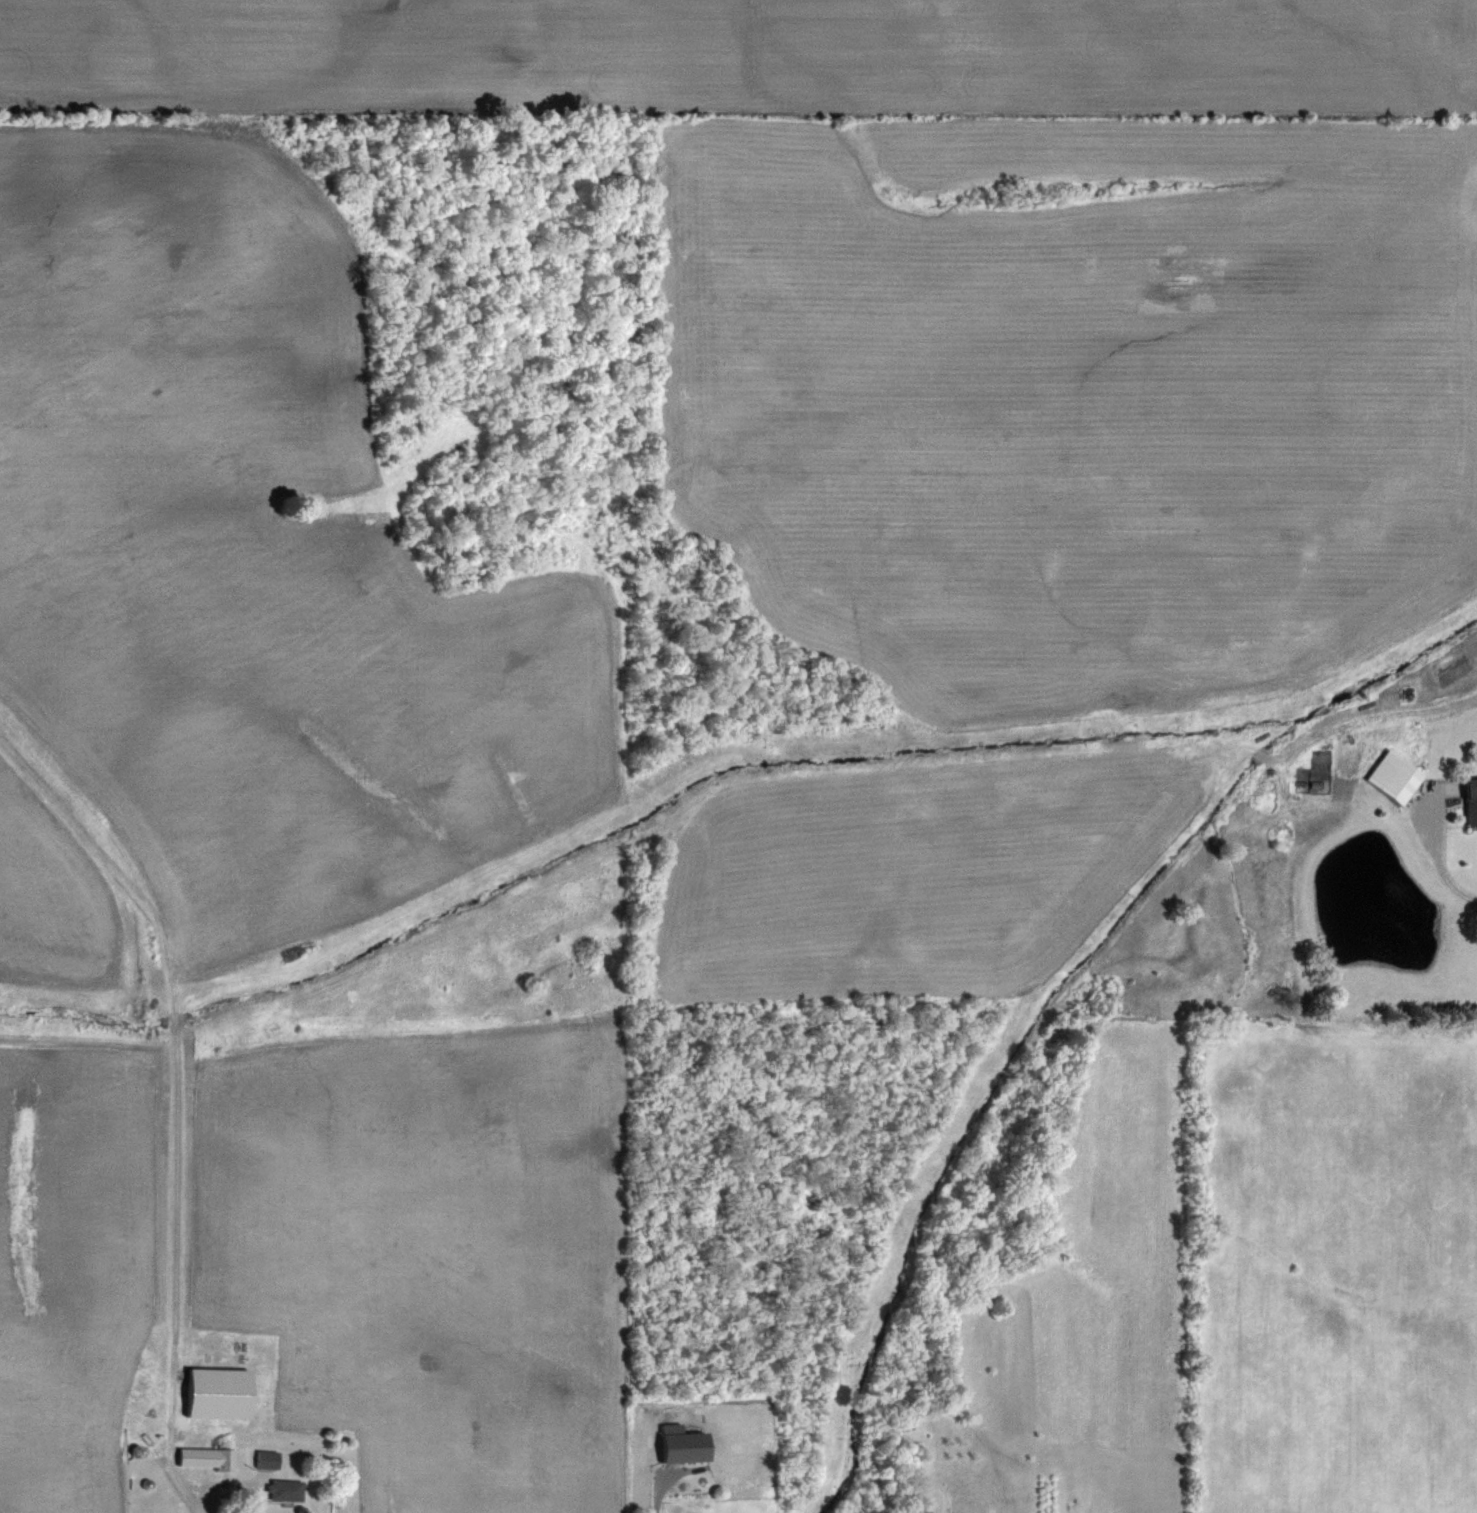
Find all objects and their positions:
building: (1244, 643)
building: (1467, 801)
road: (1439, 862)
road: (173, 1272)
building: (210, 1394)
building: (673, 1444)
building: (200, 1458)
building: (262, 1459)
building: (279, 1490)
road: (656, 1497)

